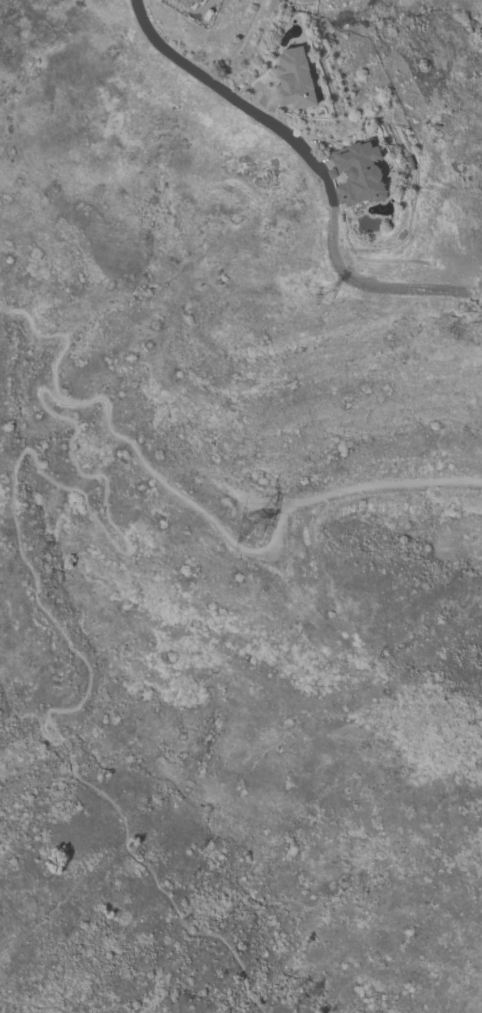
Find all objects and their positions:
building: (207, 0)
building: (188, 2)
building: (294, 78)
road: (236, 99)
building: (357, 172)
road: (370, 285)
road: (477, 294)
road: (64, 337)
road: (143, 463)
road: (336, 492)
road: (250, 499)
power tower: (241, 518)
road: (35, 592)
road: (35, 1005)

